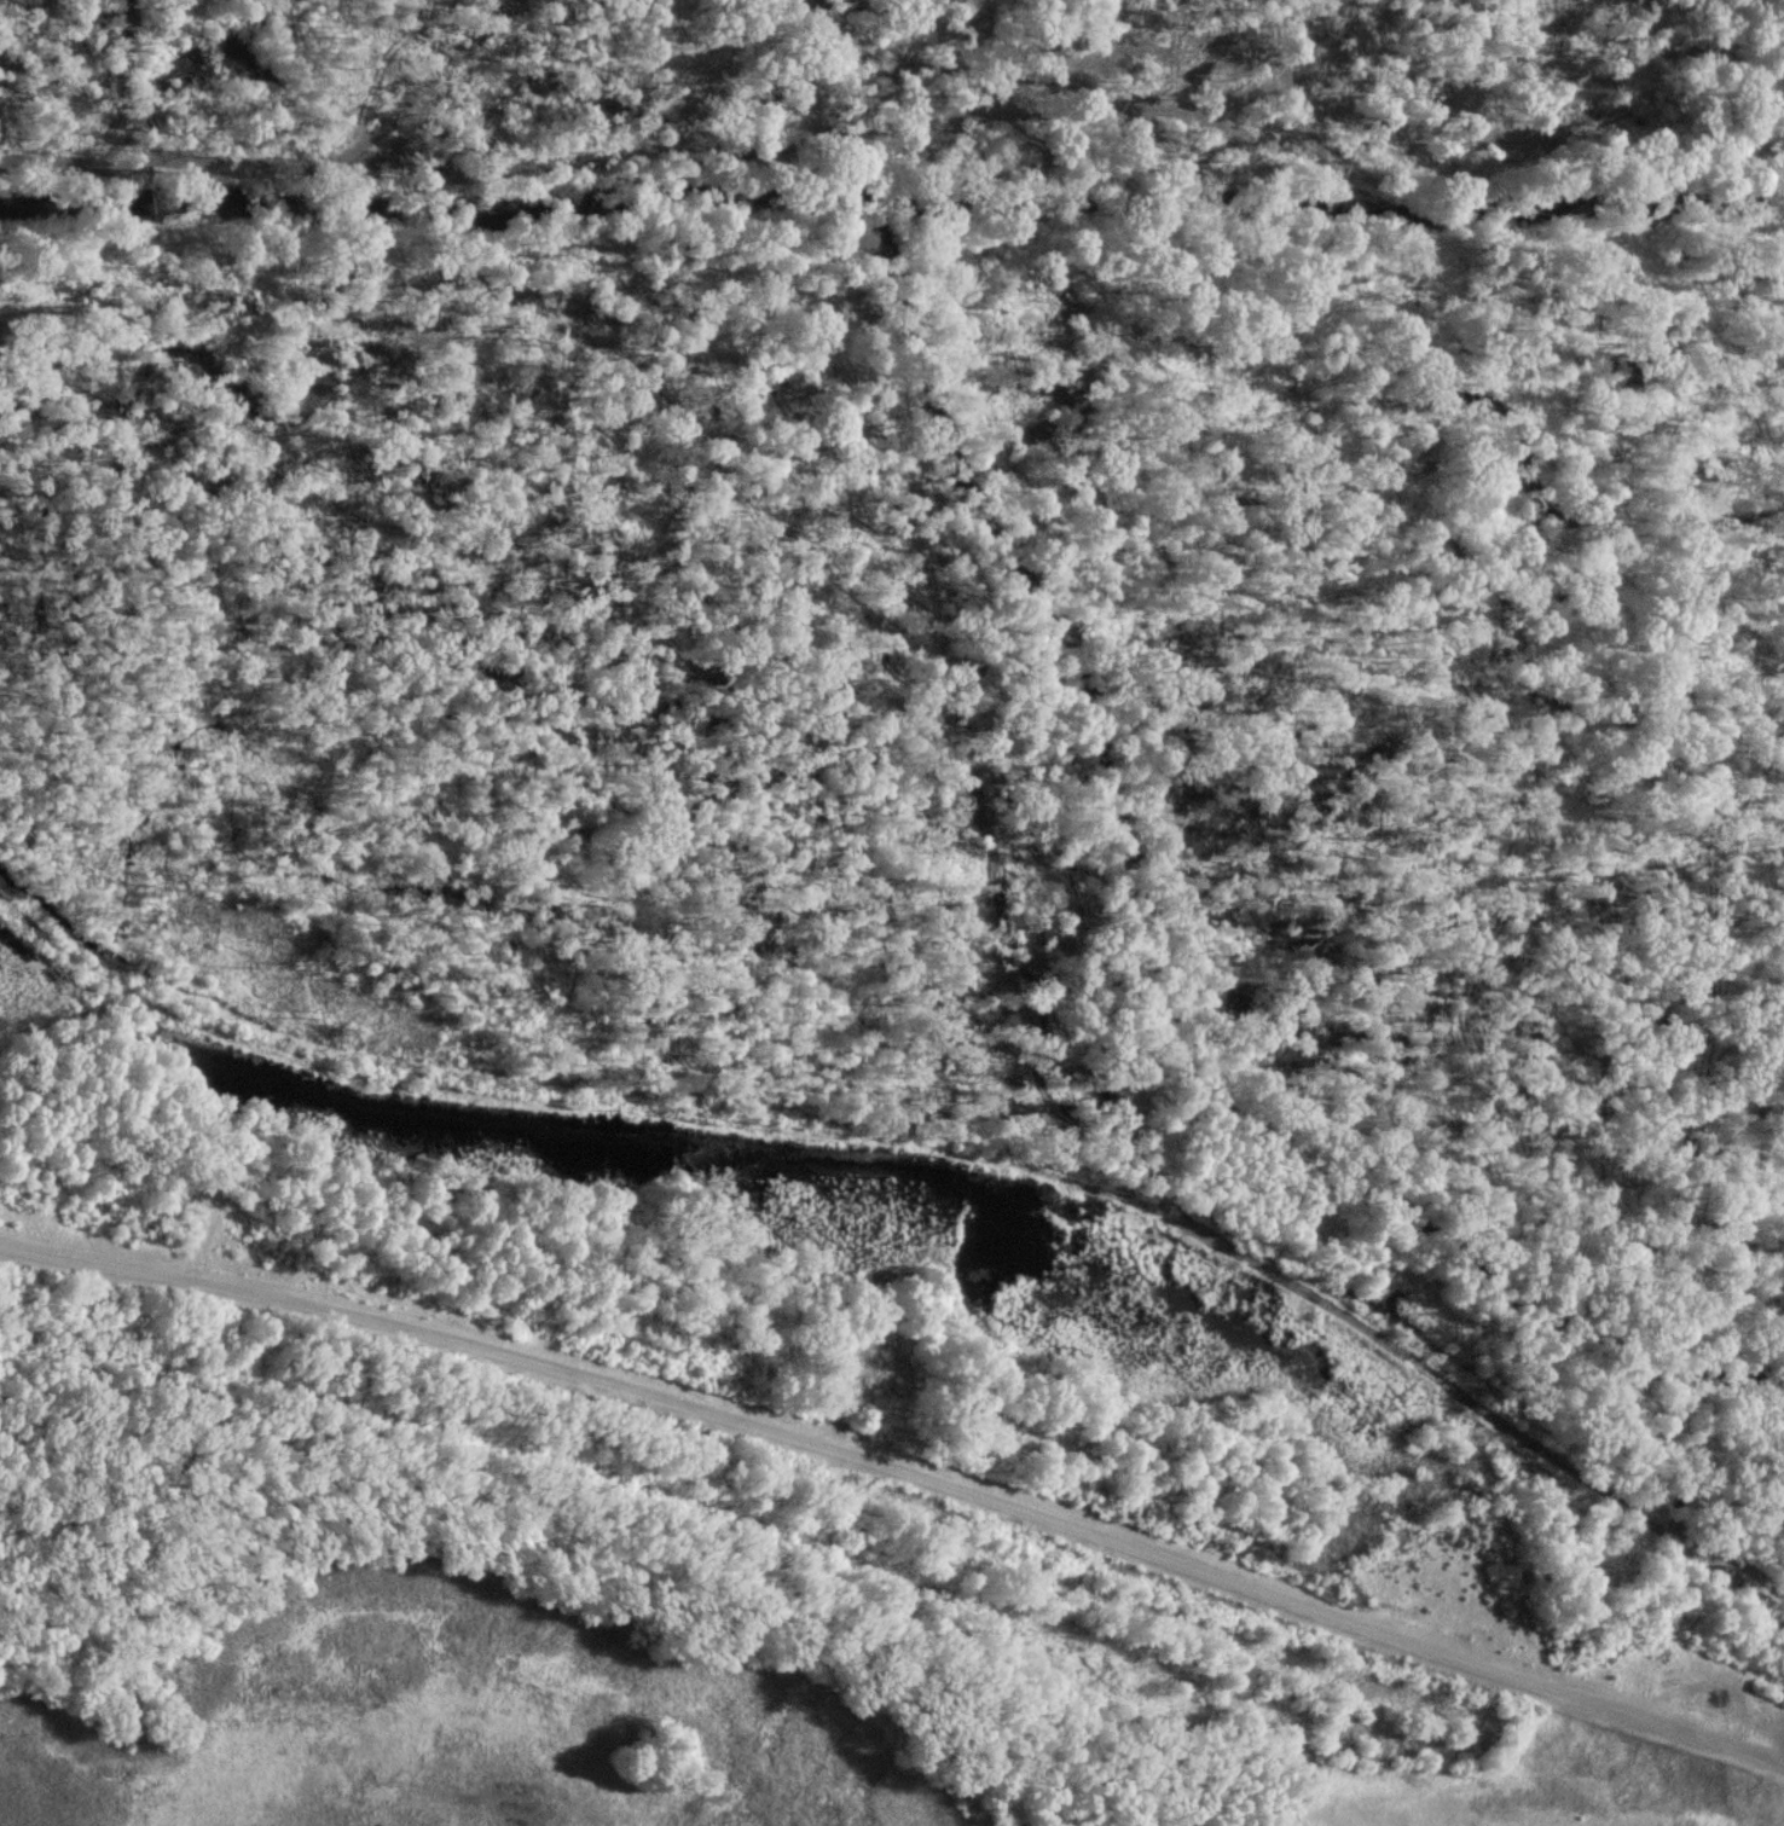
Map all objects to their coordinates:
road: (902, 1467)

